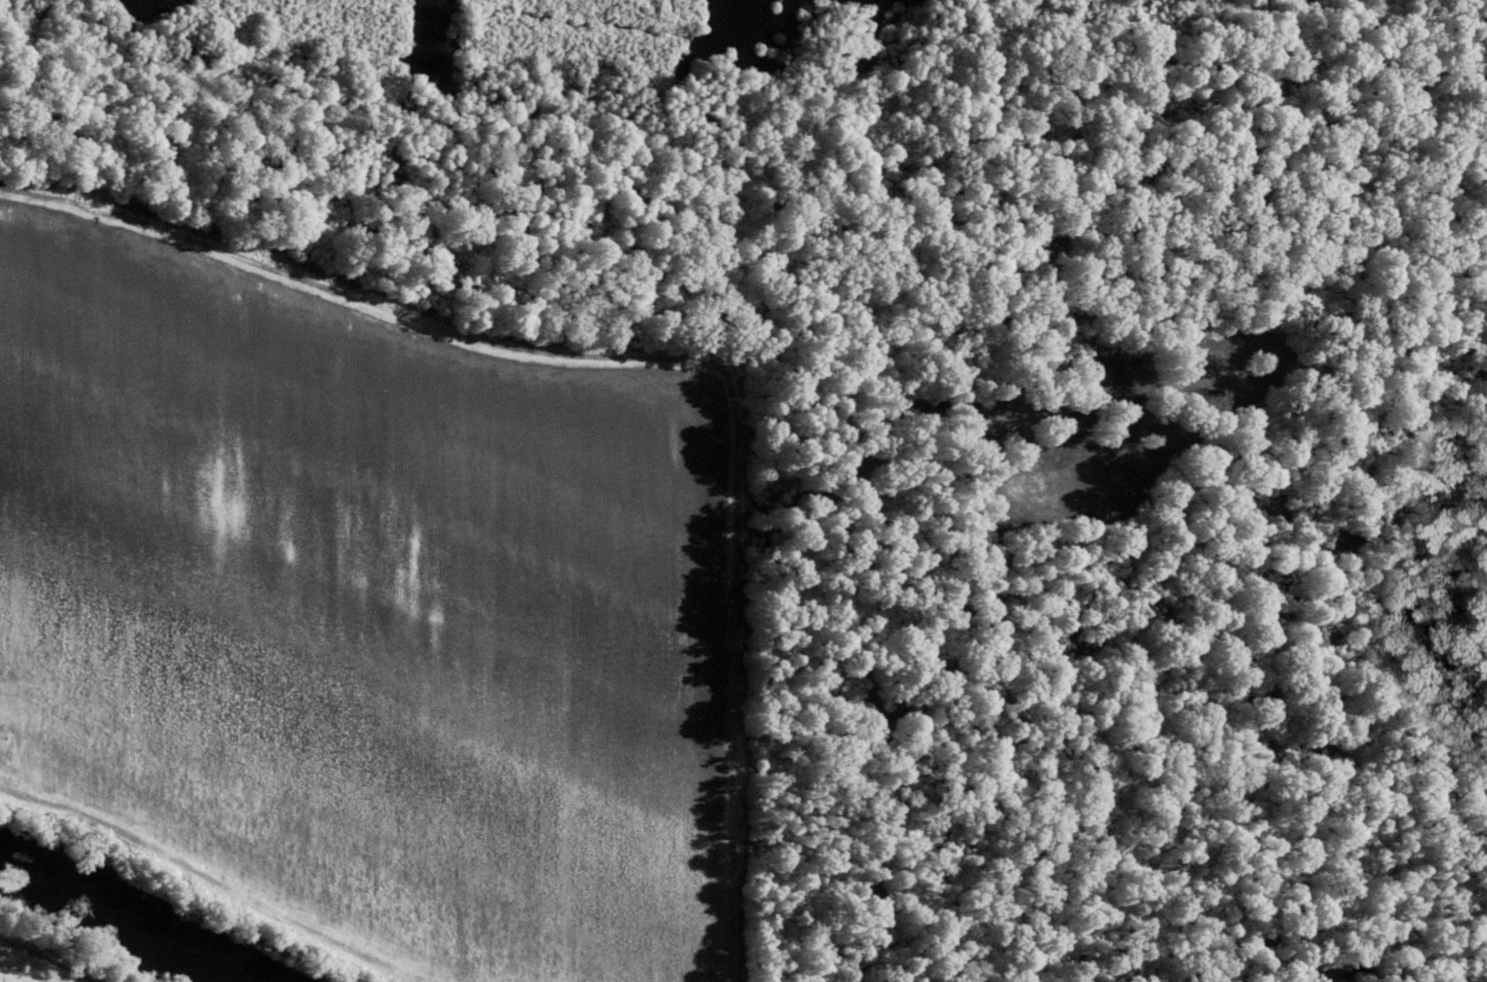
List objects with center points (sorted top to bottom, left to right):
river: (126, 919)

